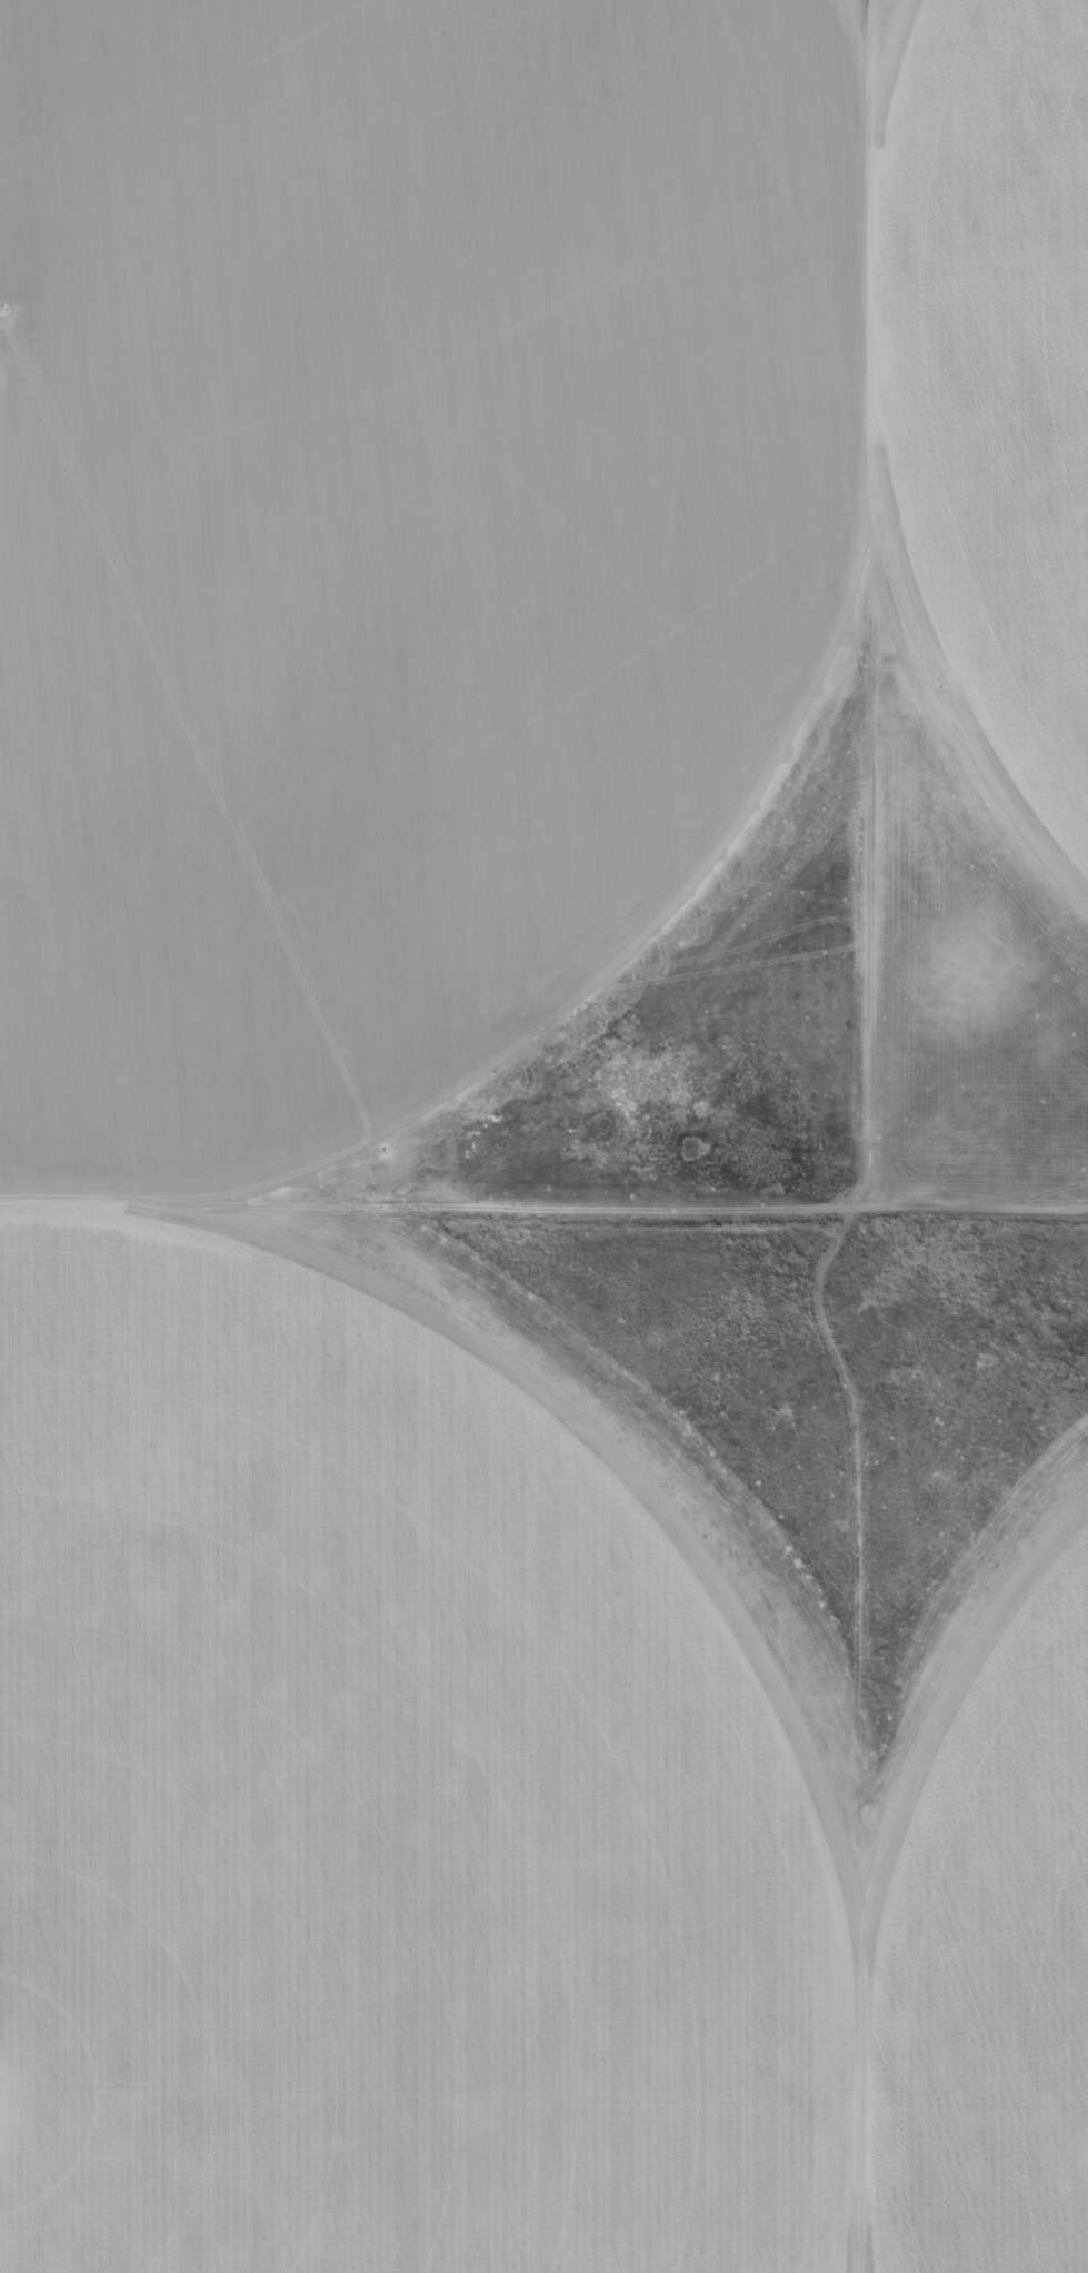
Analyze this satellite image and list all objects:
road: (886, 598)
road: (543, 1212)

